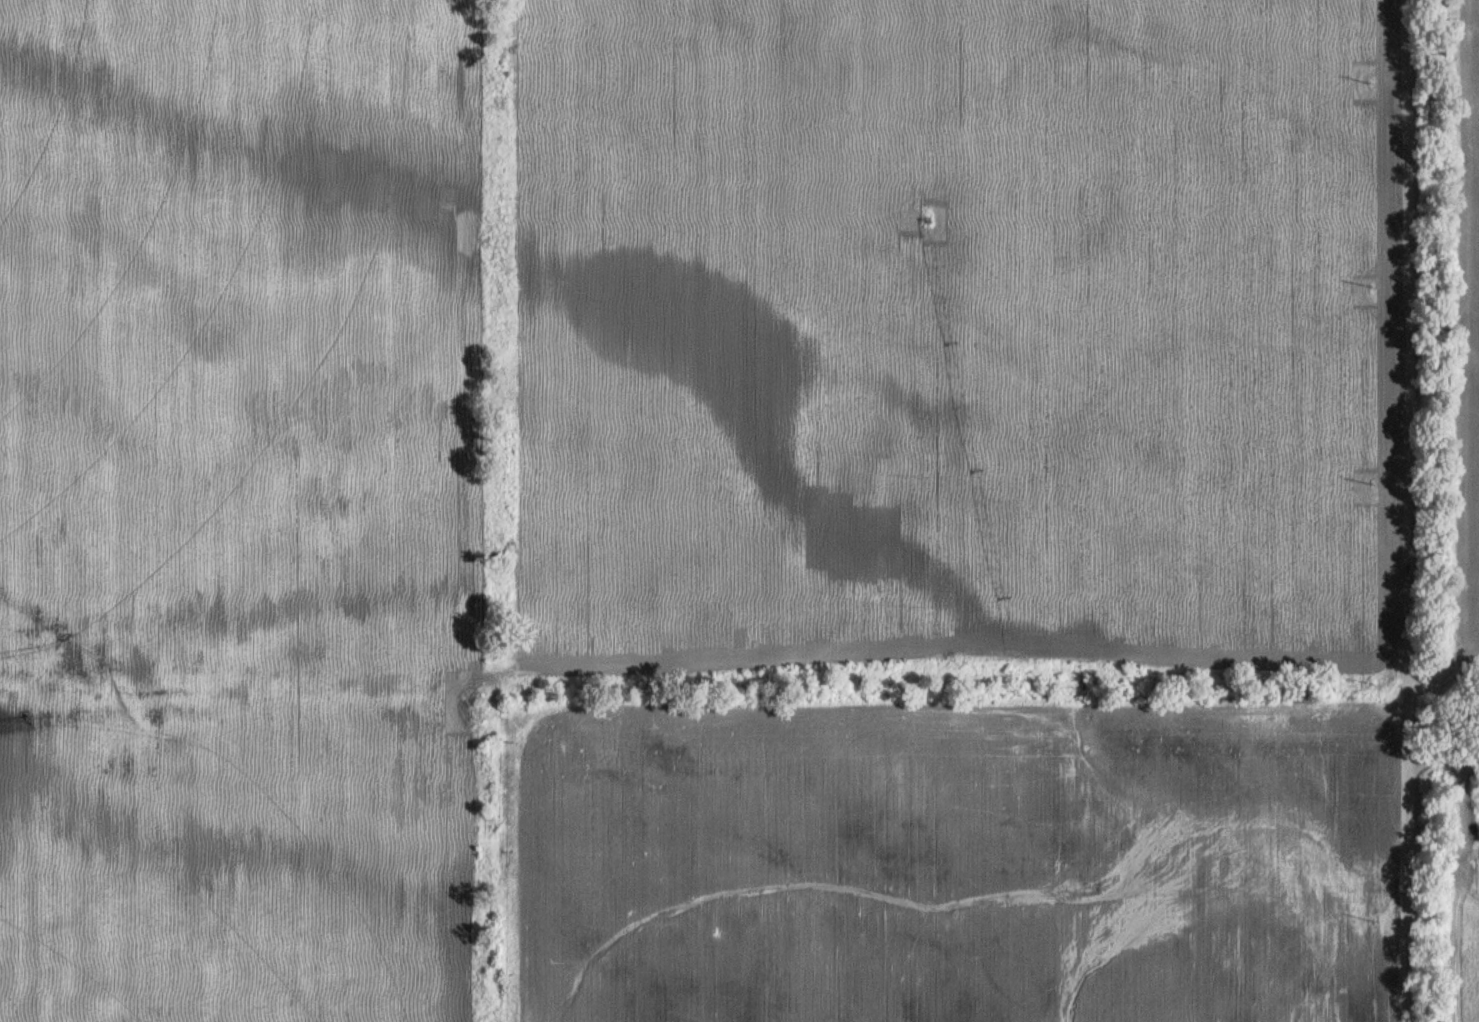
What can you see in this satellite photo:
road: (1411, 510)
road: (1444, 679)

